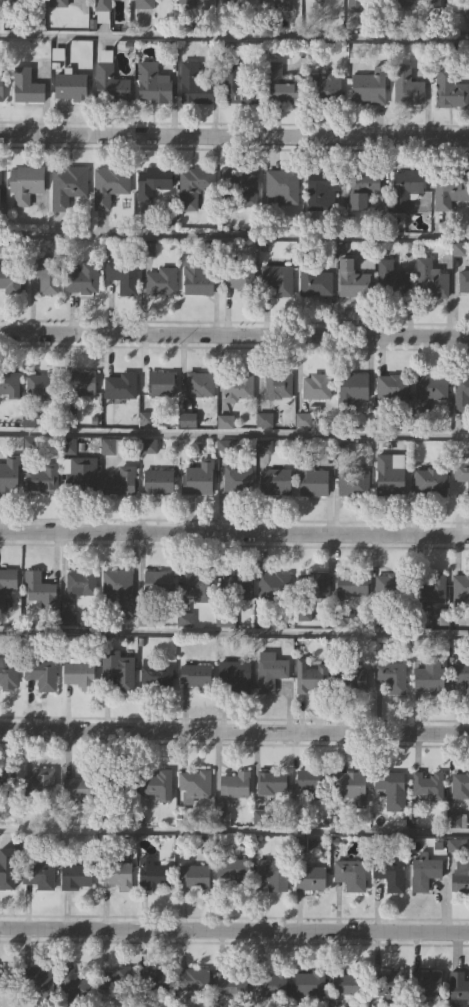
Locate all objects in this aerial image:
building: (232, 0)
building: (407, 0)
building: (24, 2)
building: (58, 3)
building: (144, 4)
building: (193, 4)
building: (102, 5)
building: (358, 5)
road: (234, 36)
building: (26, 85)
building: (110, 85)
building: (152, 85)
building: (194, 85)
building: (1, 86)
building: (237, 86)
building: (280, 86)
building: (407, 86)
building: (71, 87)
building: (370, 87)
building: (327, 89)
building: (450, 89)
road: (234, 132)
building: (153, 182)
building: (25, 184)
building: (193, 184)
building: (67, 185)
building: (108, 185)
building: (282, 187)
building: (405, 187)
building: (240, 188)
building: (324, 188)
building: (364, 188)
building: (0, 189)
building: (450, 193)
road: (234, 238)
building: (123, 275)
building: (196, 276)
building: (12, 278)
building: (49, 278)
building: (82, 278)
building: (279, 279)
building: (353, 279)
building: (239, 280)
building: (391, 280)
building: (431, 280)
building: (160, 281)
building: (464, 281)
building: (318, 283)
road: (234, 333)
building: (82, 383)
building: (161, 384)
building: (41, 385)
building: (199, 385)
building: (8, 386)
building: (120, 386)
building: (237, 386)
building: (277, 386)
building: (316, 386)
building: (354, 386)
building: (392, 387)
building: (430, 389)
building: (462, 394)
road: (234, 437)
building: (112, 447)
building: (461, 472)
building: (9, 473)
building: (79, 475)
building: (391, 475)
building: (41, 477)
building: (198, 478)
building: (236, 478)
building: (119, 482)
building: (159, 482)
building: (274, 482)
building: (314, 482)
building: (430, 482)
building: (353, 483)
road: (234, 532)
building: (7, 581)
building: (82, 582)
building: (117, 583)
building: (157, 583)
building: (198, 585)
building: (352, 585)
building: (236, 586)
building: (273, 586)
building: (313, 586)
building: (390, 586)
building: (461, 587)
building: (431, 588)
building: (38, 589)
building: (68, 611)
road: (234, 635)
building: (118, 670)
building: (39, 673)
building: (271, 673)
building: (79, 675)
building: (155, 675)
building: (195, 675)
building: (8, 676)
building: (235, 676)
building: (461, 676)
building: (391, 677)
building: (429, 677)
building: (308, 679)
building: (352, 686)
road: (234, 729)
building: (130, 780)
building: (311, 781)
building: (7, 782)
building: (273, 783)
building: (39, 784)
building: (156, 784)
building: (460, 784)
building: (82, 785)
building: (194, 786)
building: (234, 786)
building: (427, 786)
building: (352, 787)
building: (391, 790)
road: (234, 834)
building: (7, 869)
building: (232, 870)
building: (424, 873)
building: (272, 874)
building: (389, 874)
building: (116, 875)
building: (153, 875)
building: (351, 875)
building: (461, 875)
building: (37, 877)
building: (76, 877)
building: (194, 877)
building: (310, 878)
road: (234, 927)
building: (7, 978)
building: (37, 980)
building: (193, 980)
building: (74, 981)
building: (115, 981)
building: (153, 981)
building: (227, 982)
building: (265, 984)
building: (309, 984)
building: (427, 984)
building: (346, 985)
building: (388, 987)
building: (458, 989)

